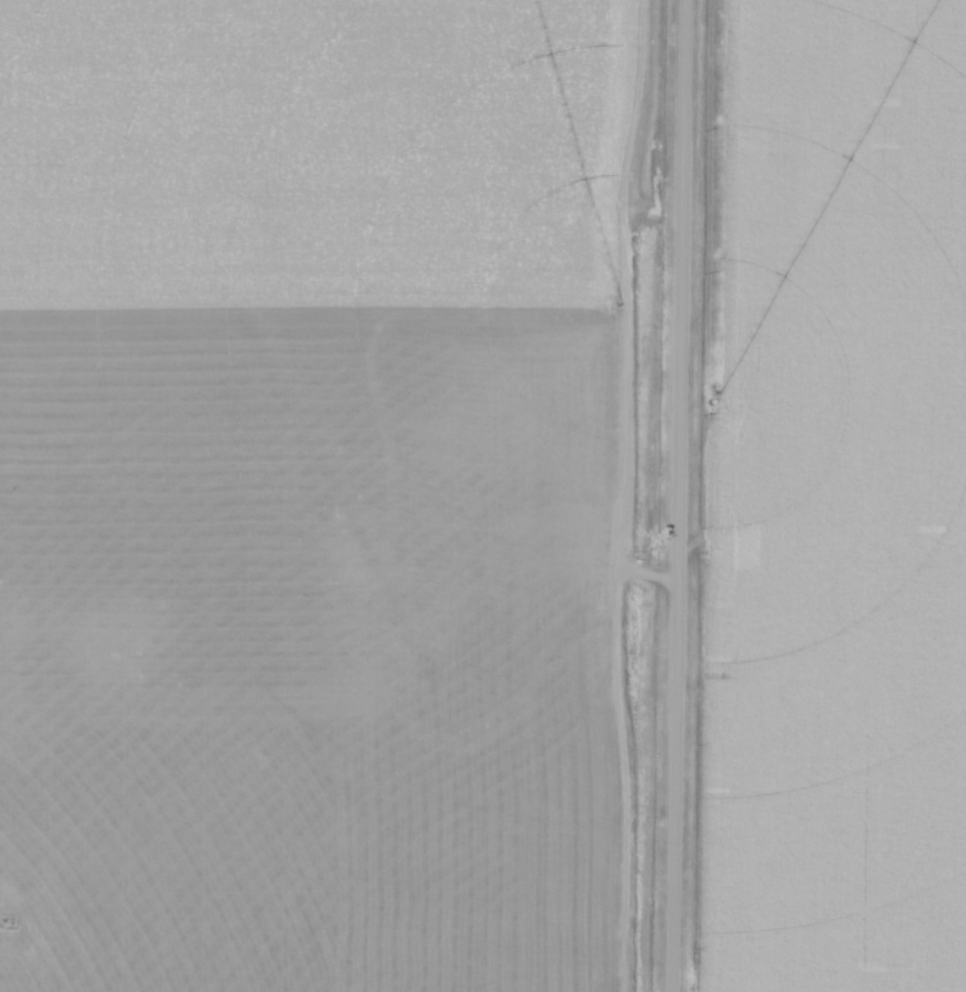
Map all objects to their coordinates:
road: (680, 496)

